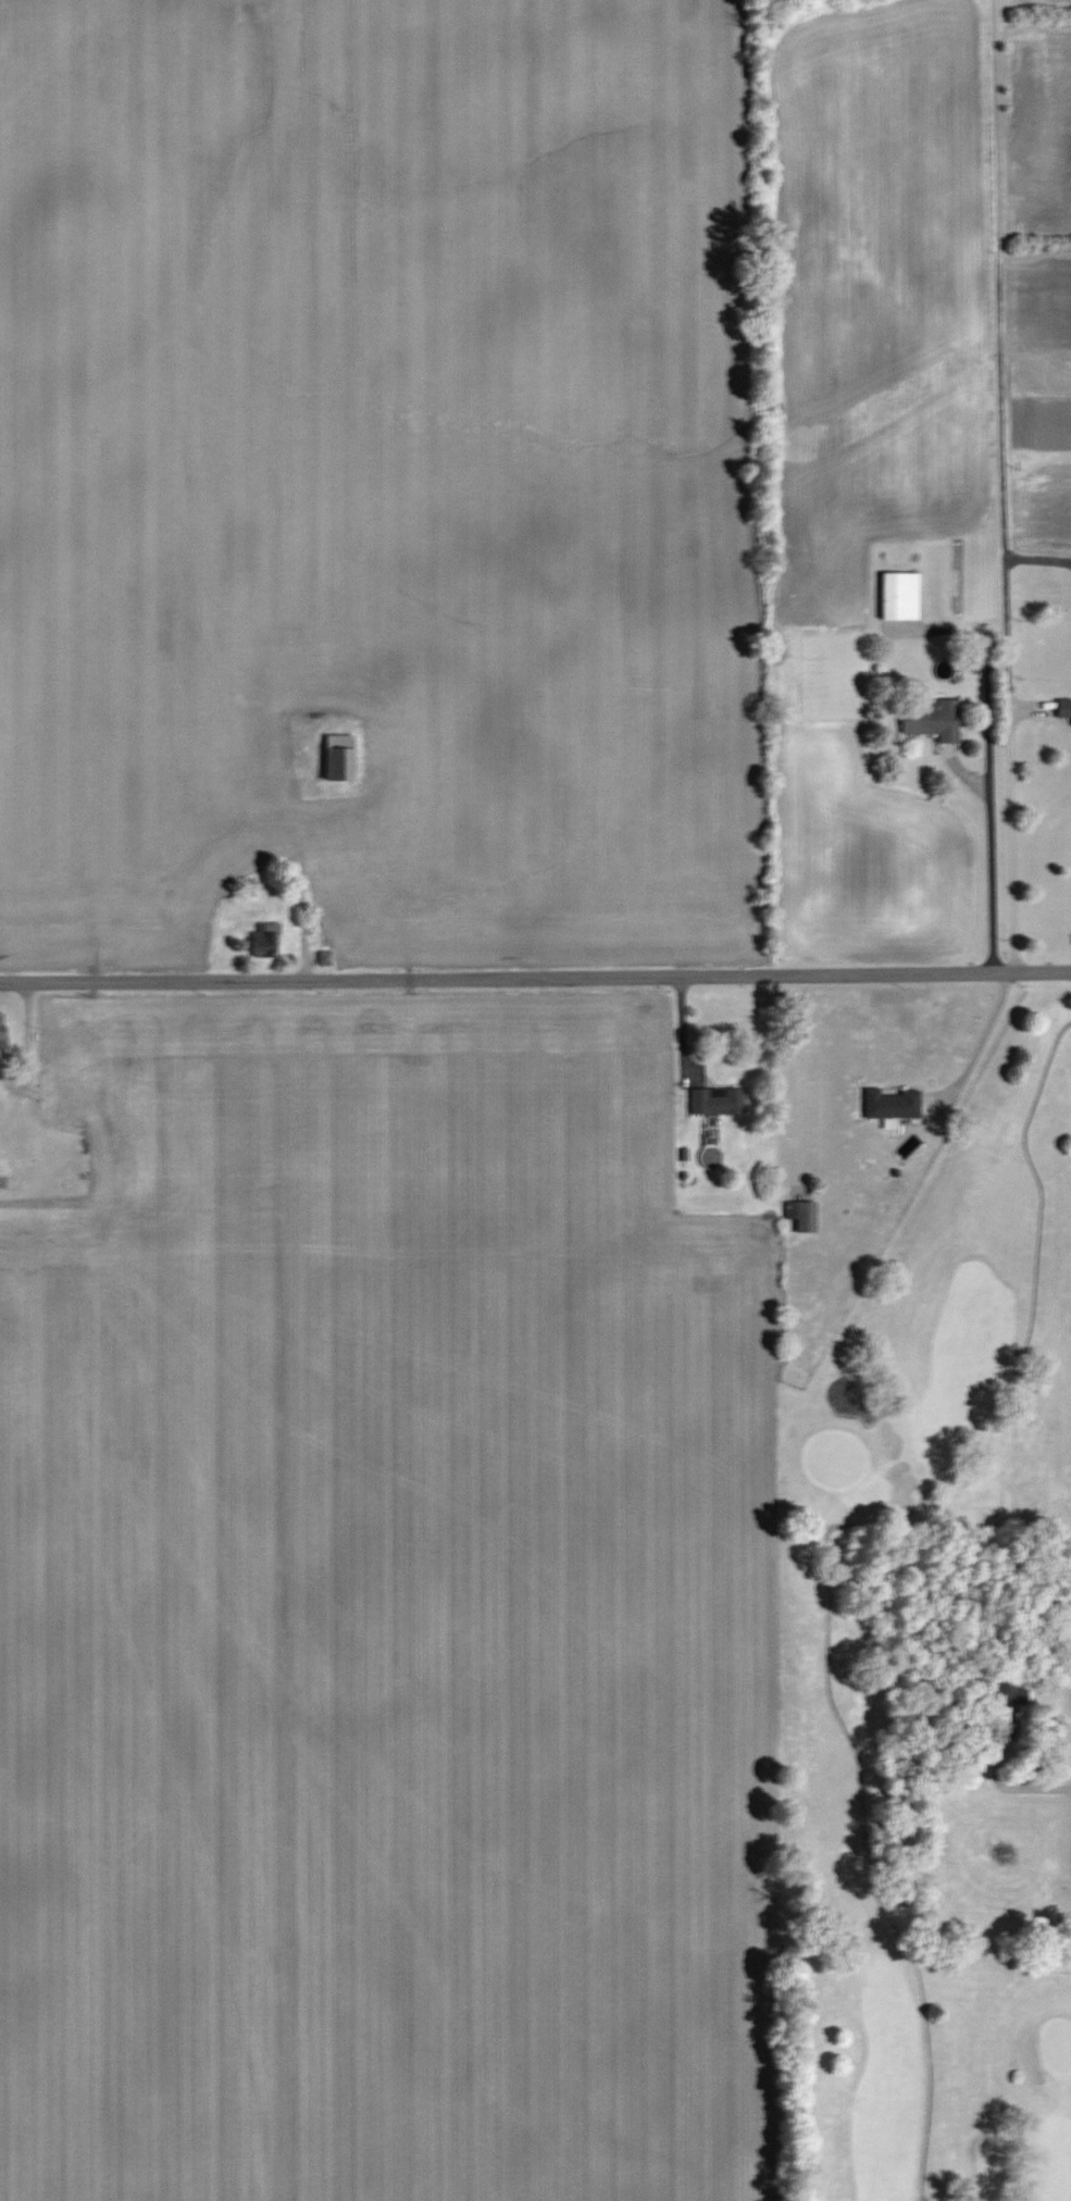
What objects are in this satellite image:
road: (1002, 487)
building: (900, 596)
building: (1063, 708)
building: (934, 720)
building: (340, 757)
road: (991, 850)
building: (265, 940)
road: (535, 979)
building: (3, 1030)
road: (980, 1036)
building: (718, 1100)
building: (892, 1103)
building: (802, 1216)
building: (1008, 1706)

